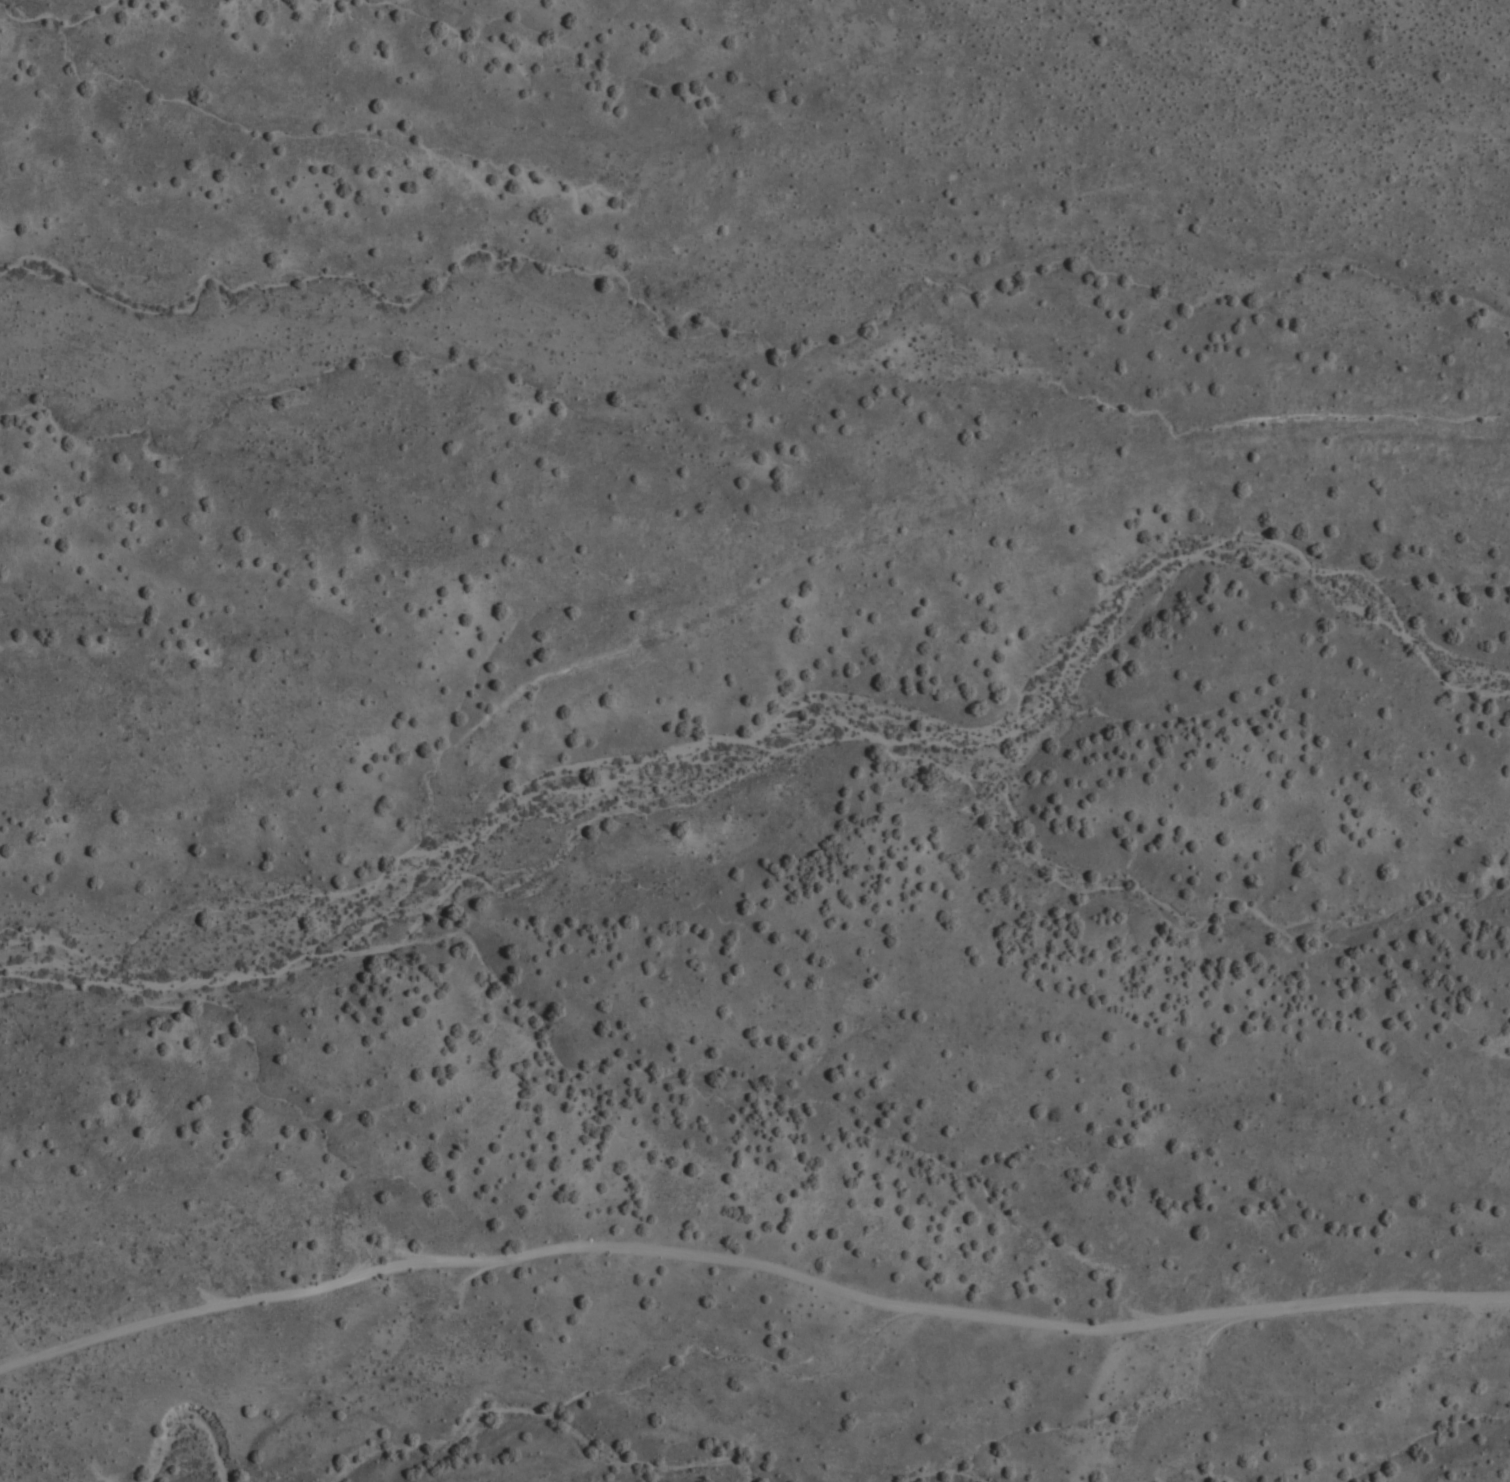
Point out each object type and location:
road: (749, 1274)

